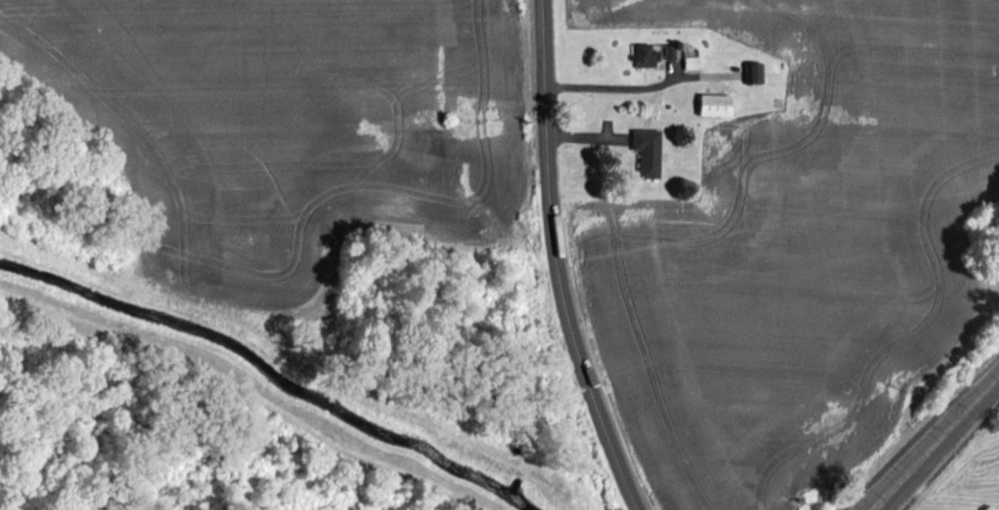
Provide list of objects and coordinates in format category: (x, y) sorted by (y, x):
building: (643, 55)
building: (754, 72)
building: (713, 104)
building: (646, 151)
road: (555, 261)
road: (935, 442)

